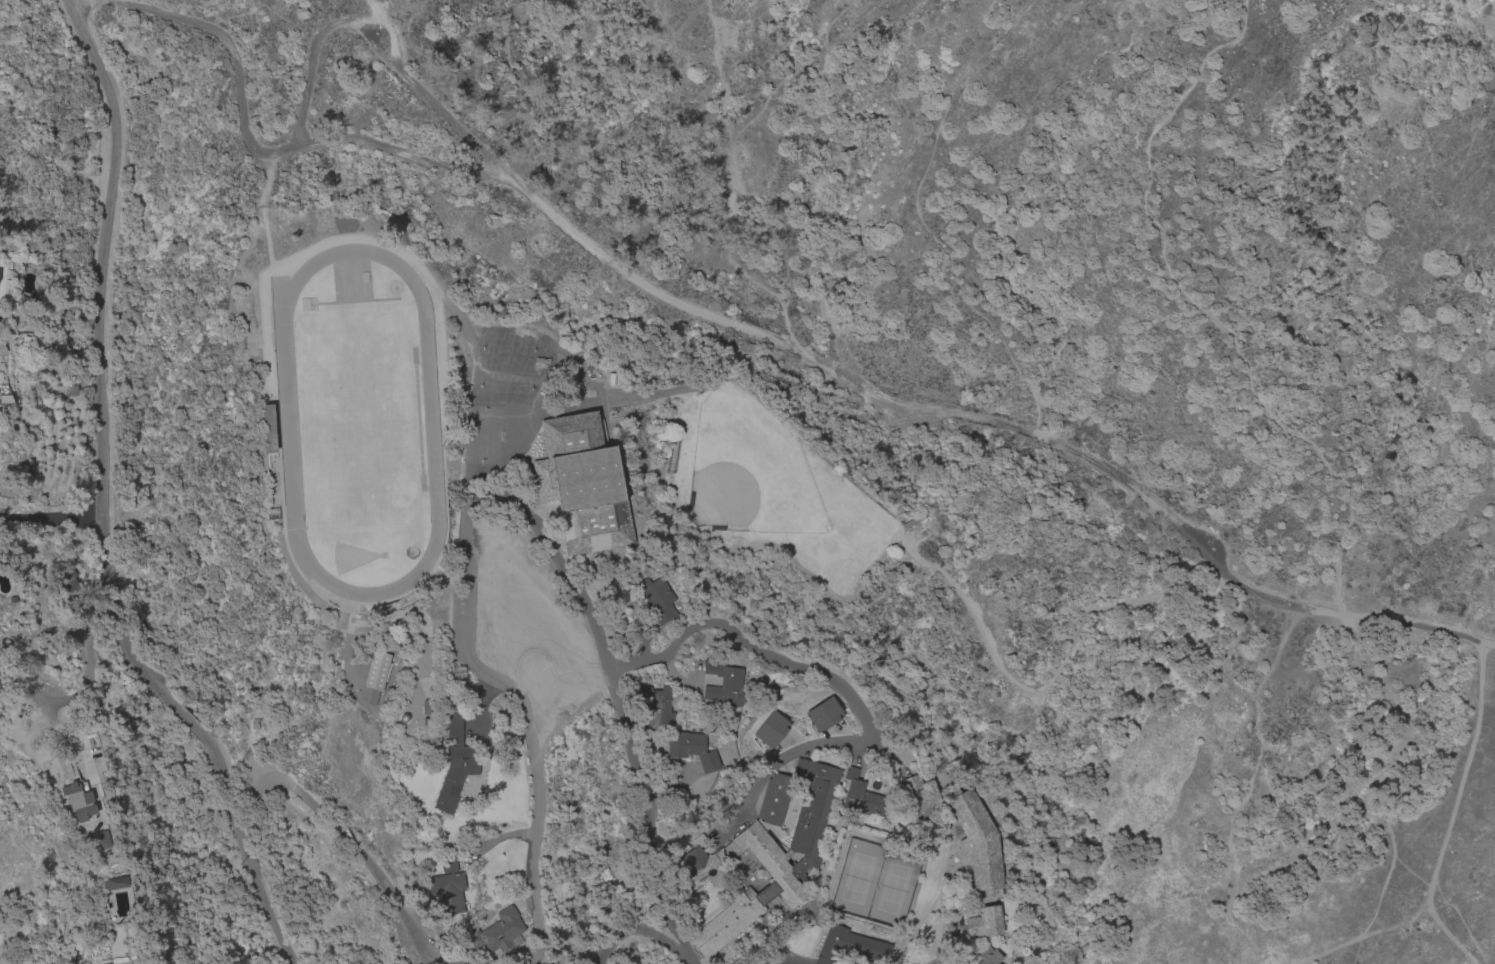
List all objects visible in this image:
road: (386, 35)
road: (233, 49)
road: (734, 57)
road: (400, 153)
road: (727, 160)
road: (758, 162)
road: (1196, 309)
building: (2, 348)
road: (998, 422)
building: (267, 428)
building: (583, 483)
road: (101, 504)
road: (50, 523)
road: (564, 575)
building: (657, 598)
road: (462, 635)
road: (775, 659)
building: (375, 677)
building: (723, 686)
road: (83, 691)
building: (656, 701)
building: (822, 714)
building: (770, 729)
building: (691, 749)
building: (455, 763)
road: (777, 763)
road: (537, 772)
building: (918, 792)
building: (861, 796)
building: (78, 801)
road: (645, 807)
road: (332, 823)
building: (97, 841)
building: (975, 843)
building: (766, 853)
building: (448, 864)
building: (115, 883)
building: (447, 891)
building: (984, 922)
road: (957, 926)
building: (499, 932)
road: (646, 933)
building: (849, 946)
building: (988, 956)
road: (434, 961)

